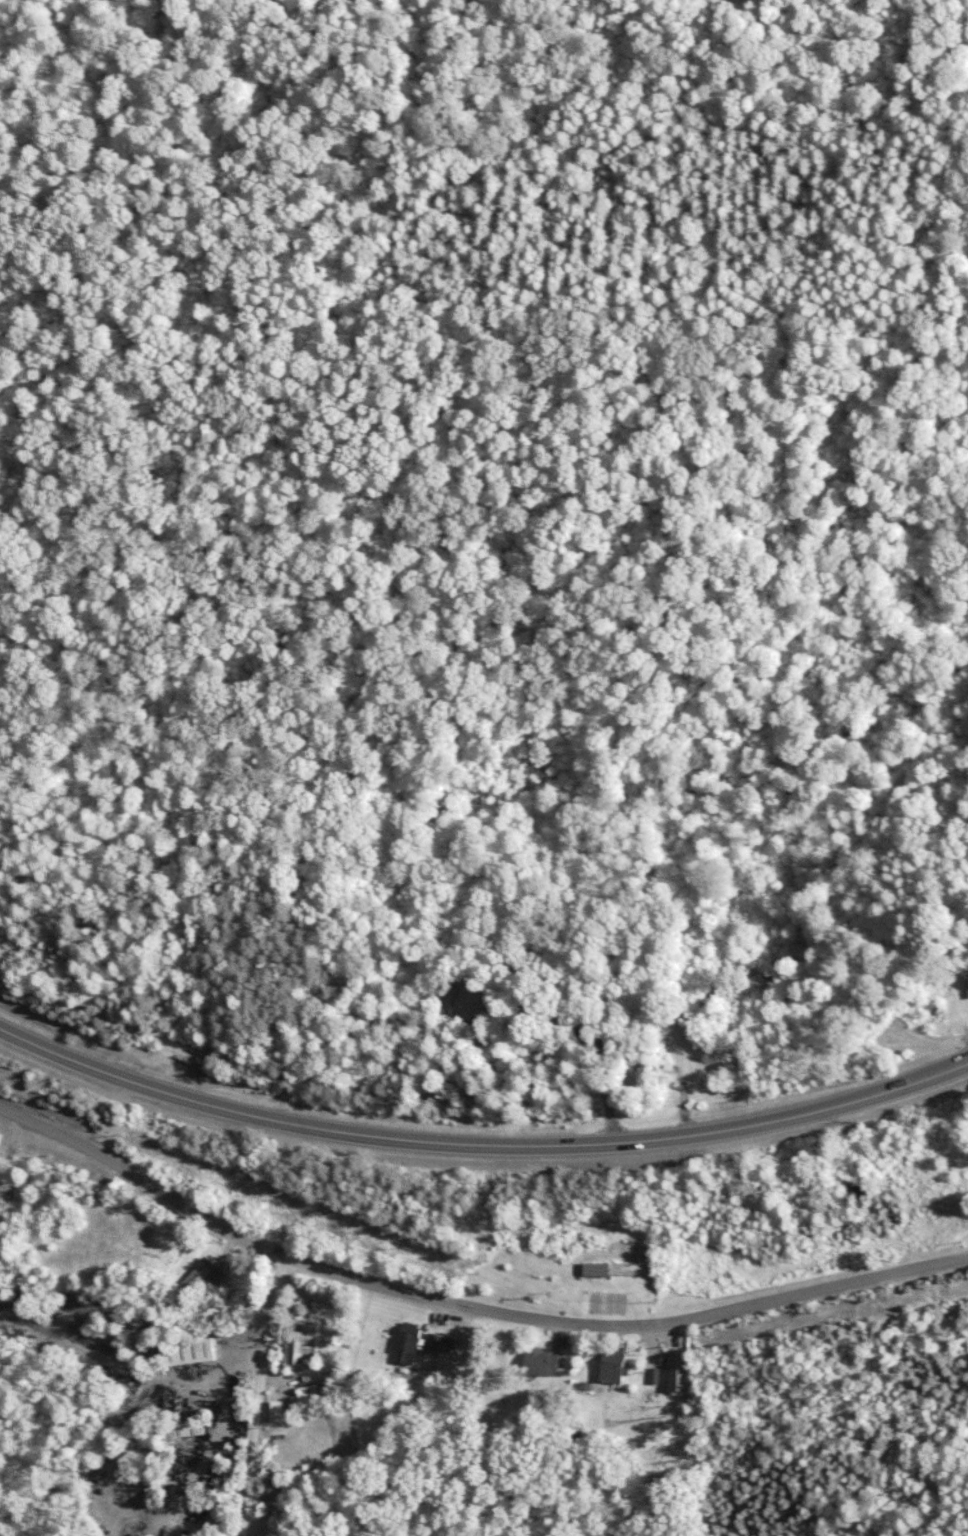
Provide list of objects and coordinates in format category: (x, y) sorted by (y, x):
building: (966, 985)
building: (478, 1002)
building: (619, 1010)
road: (594, 1054)
road: (832, 1105)
road: (338, 1132)
building: (597, 1270)
building: (199, 1274)
road: (467, 1303)
building: (442, 1341)
building: (300, 1342)
building: (408, 1344)
building: (188, 1349)
building: (544, 1361)
building: (614, 1365)
building: (680, 1368)
road: (265, 1396)
building: (191, 1426)
building: (274, 1495)

